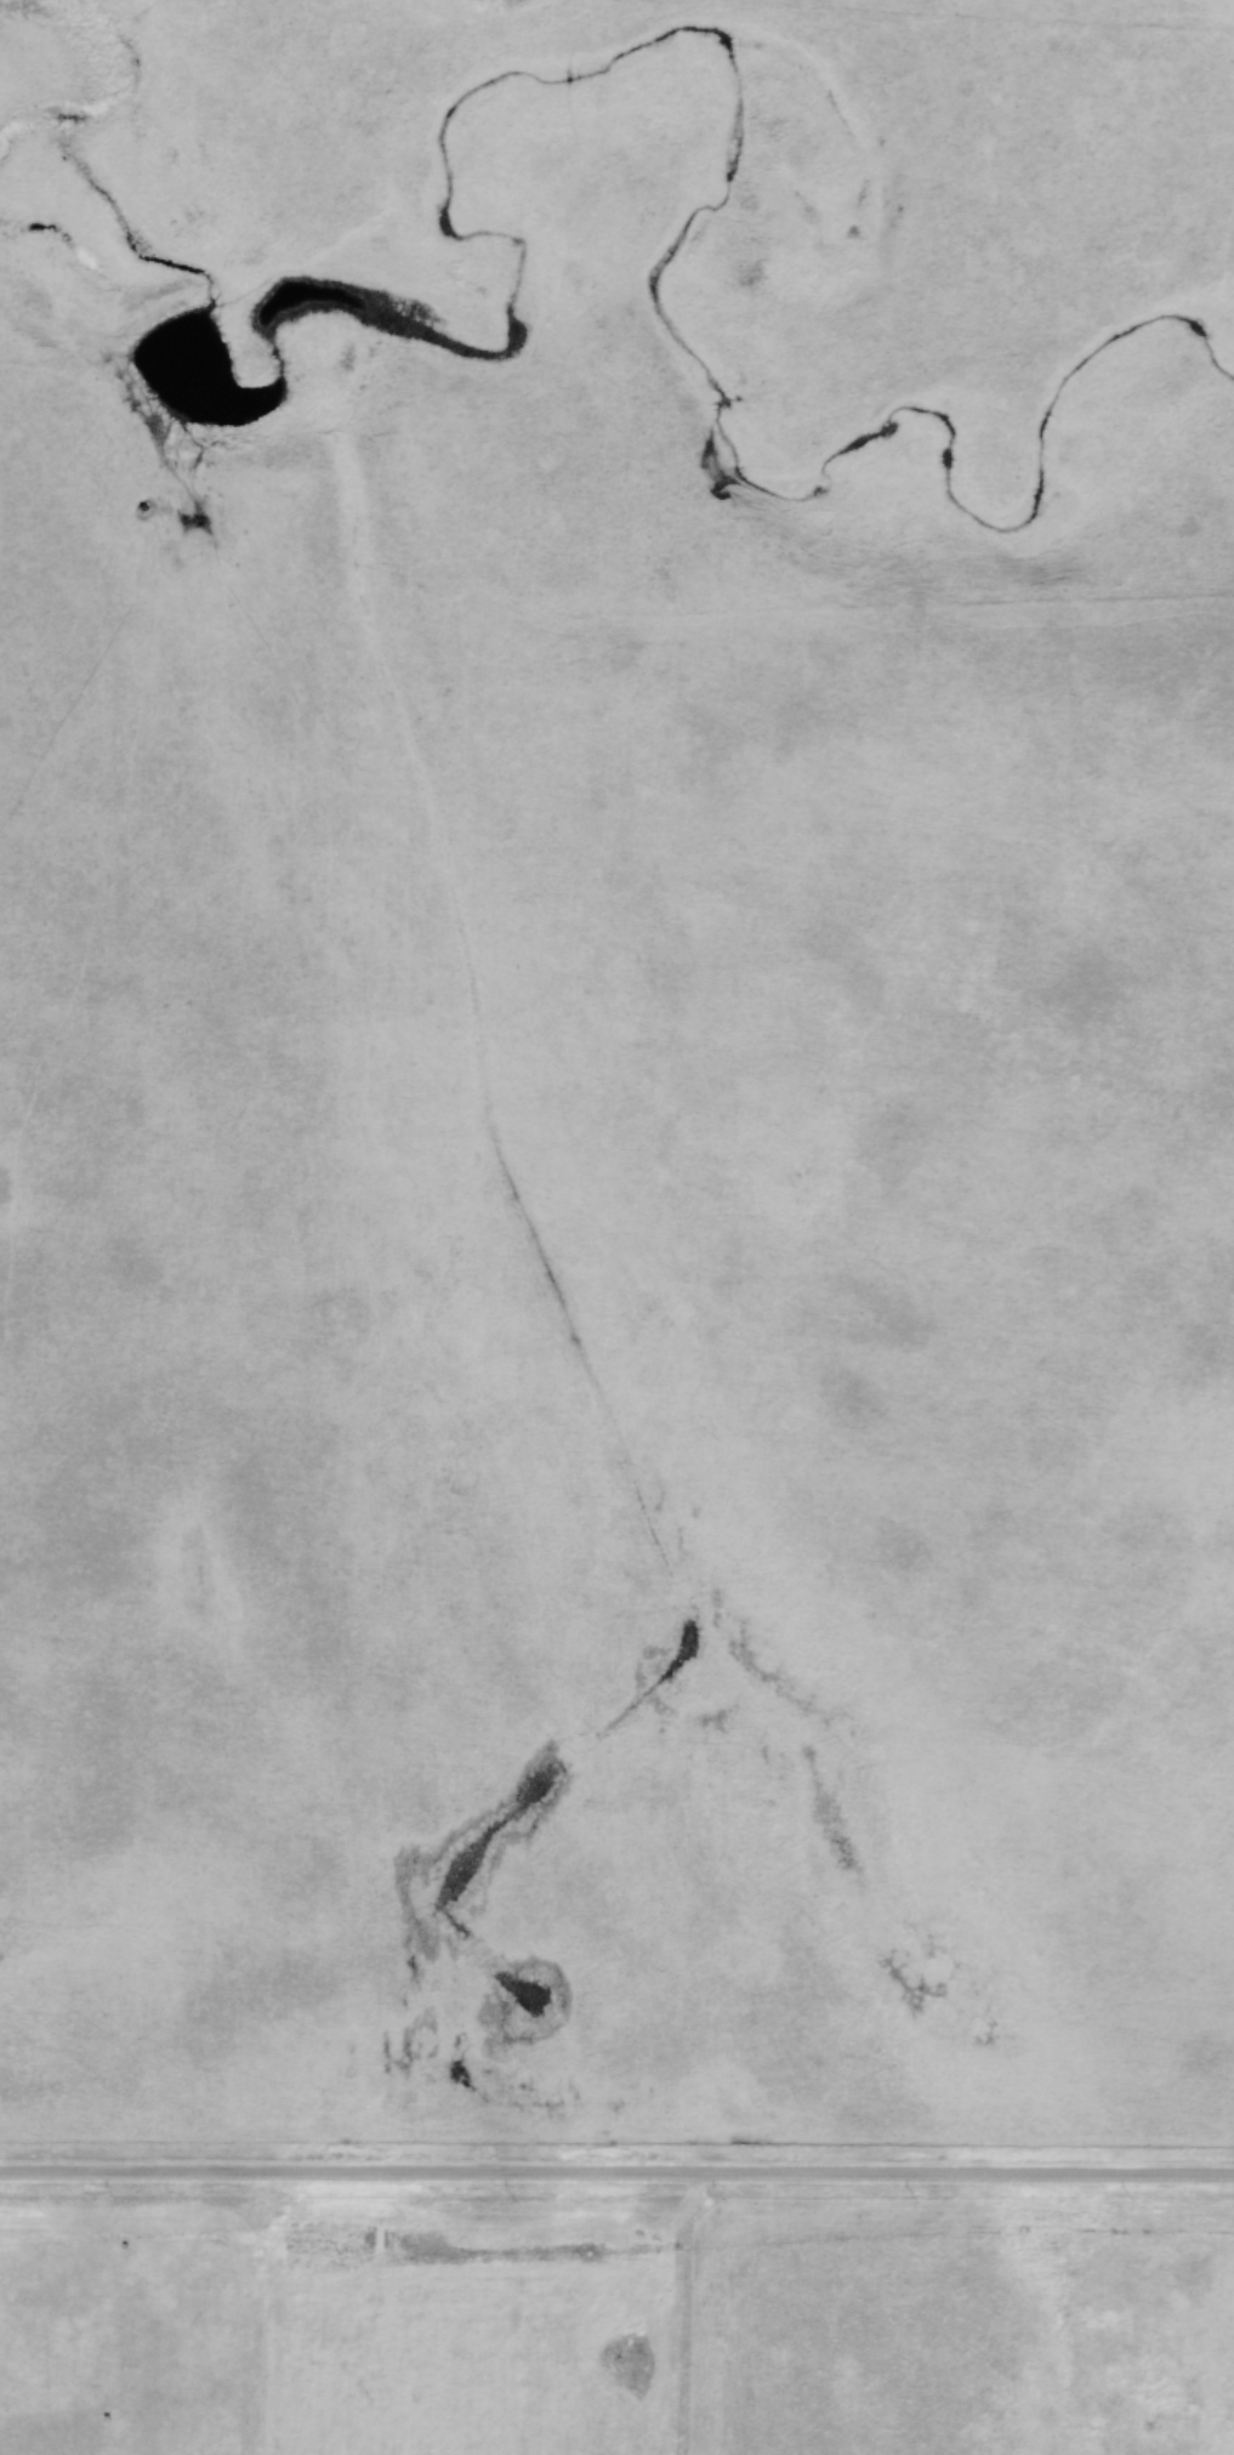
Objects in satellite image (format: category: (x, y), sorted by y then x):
road: (616, 2175)

